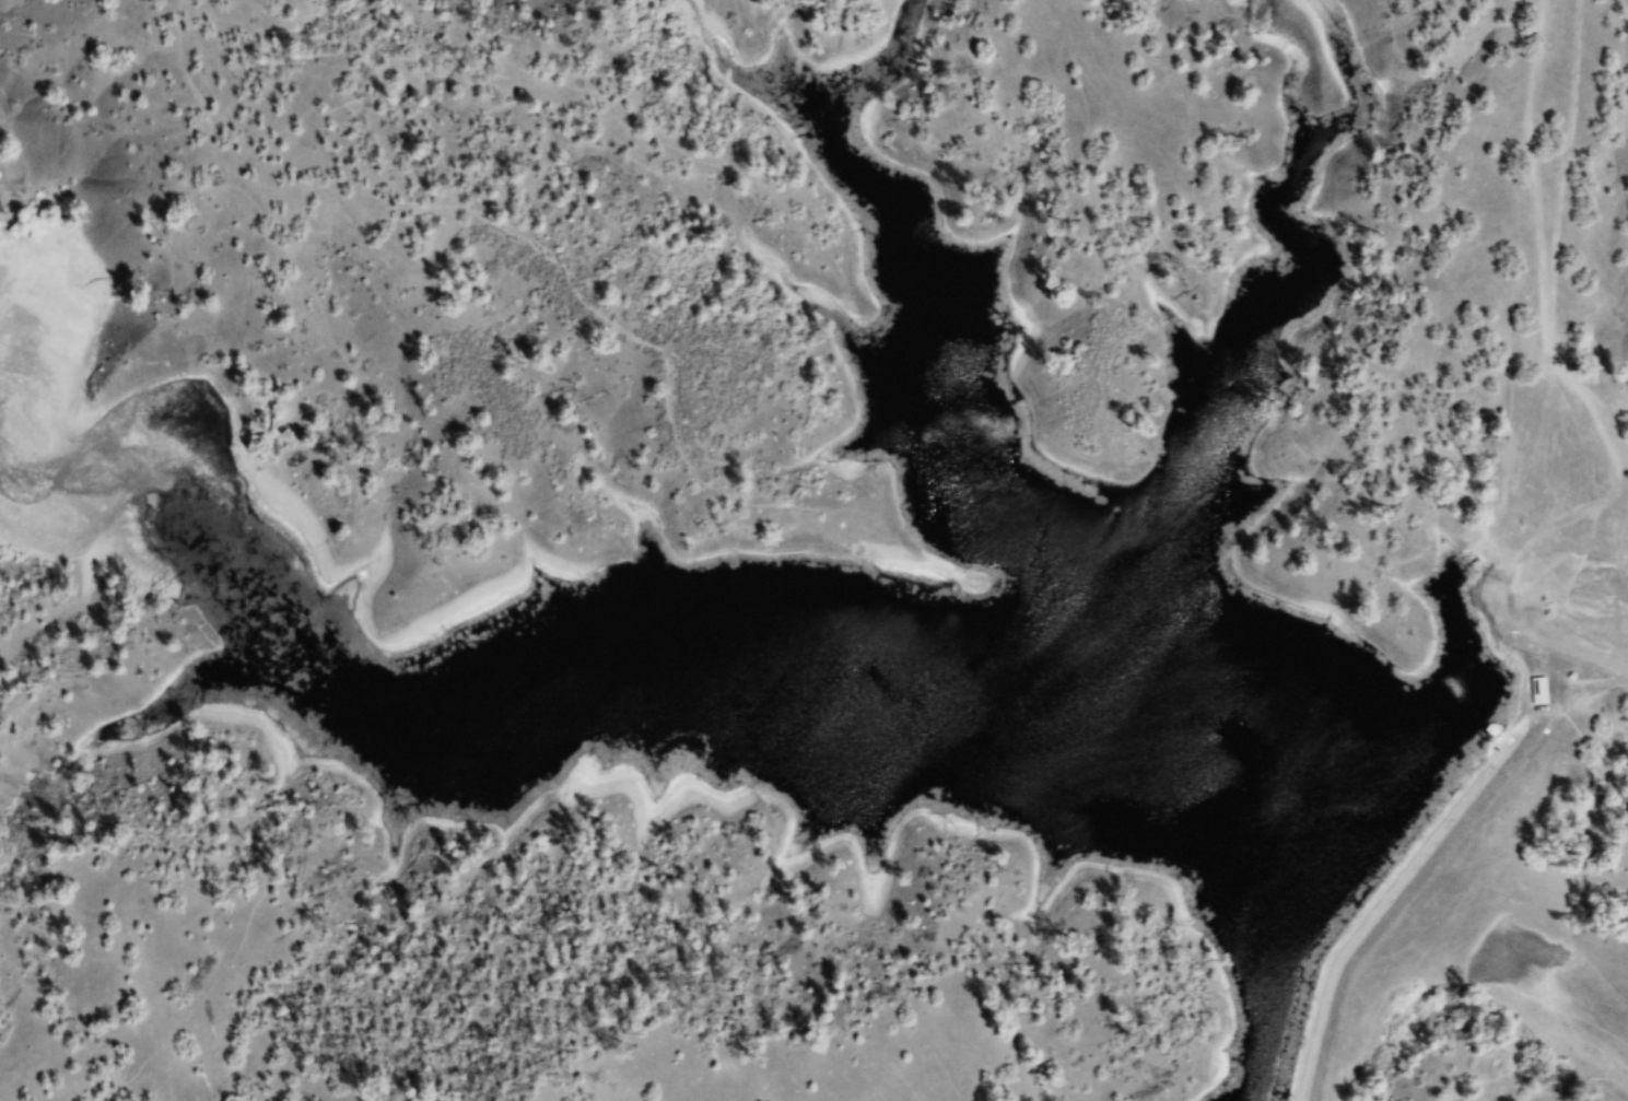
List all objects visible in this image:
dam: (1436, 907)

